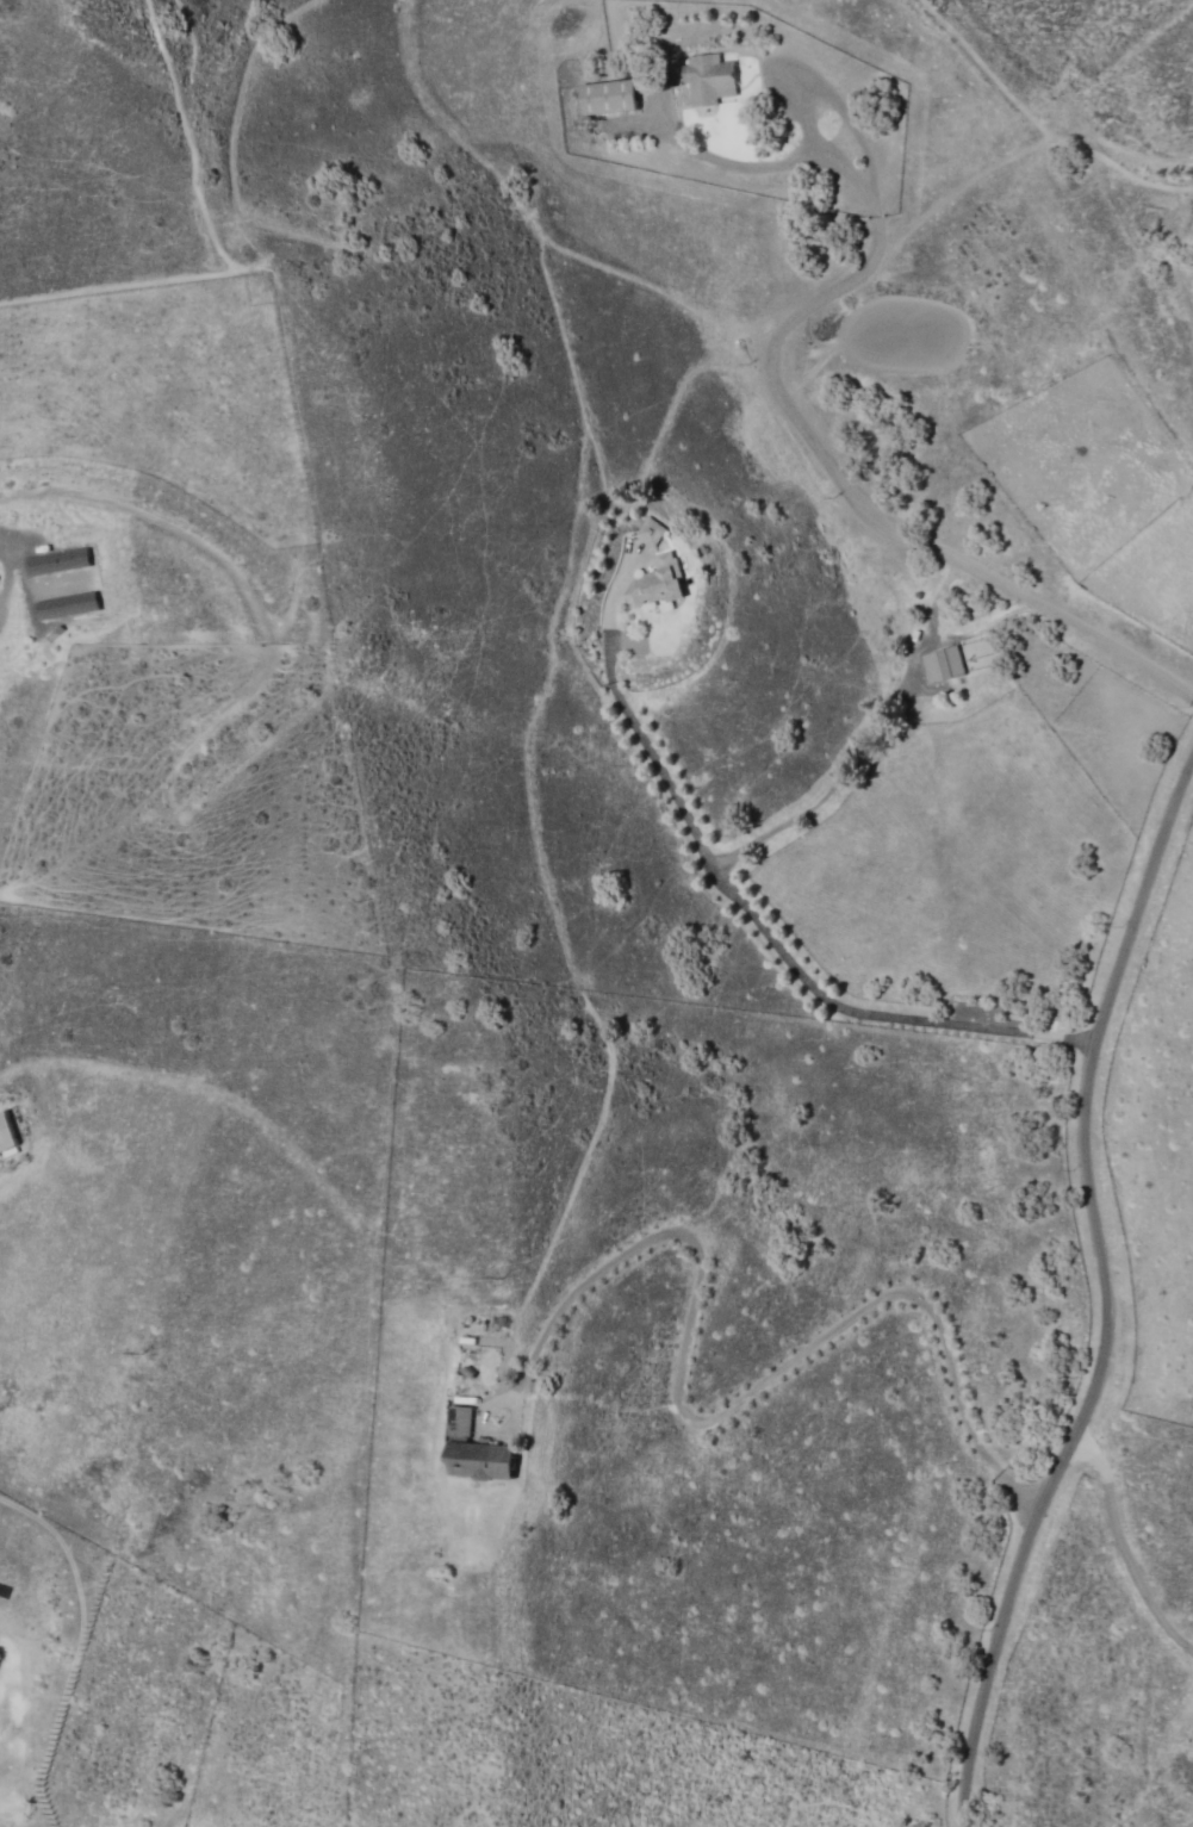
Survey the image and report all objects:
building: (709, 79)
building: (608, 97)
road: (1186, 253)
building: (651, 532)
building: (56, 561)
building: (657, 583)
building: (64, 605)
road: (1019, 660)
building: (943, 665)
road: (956, 978)
building: (6, 1135)
road: (1105, 1291)
building: (460, 1422)
building: (483, 1461)

